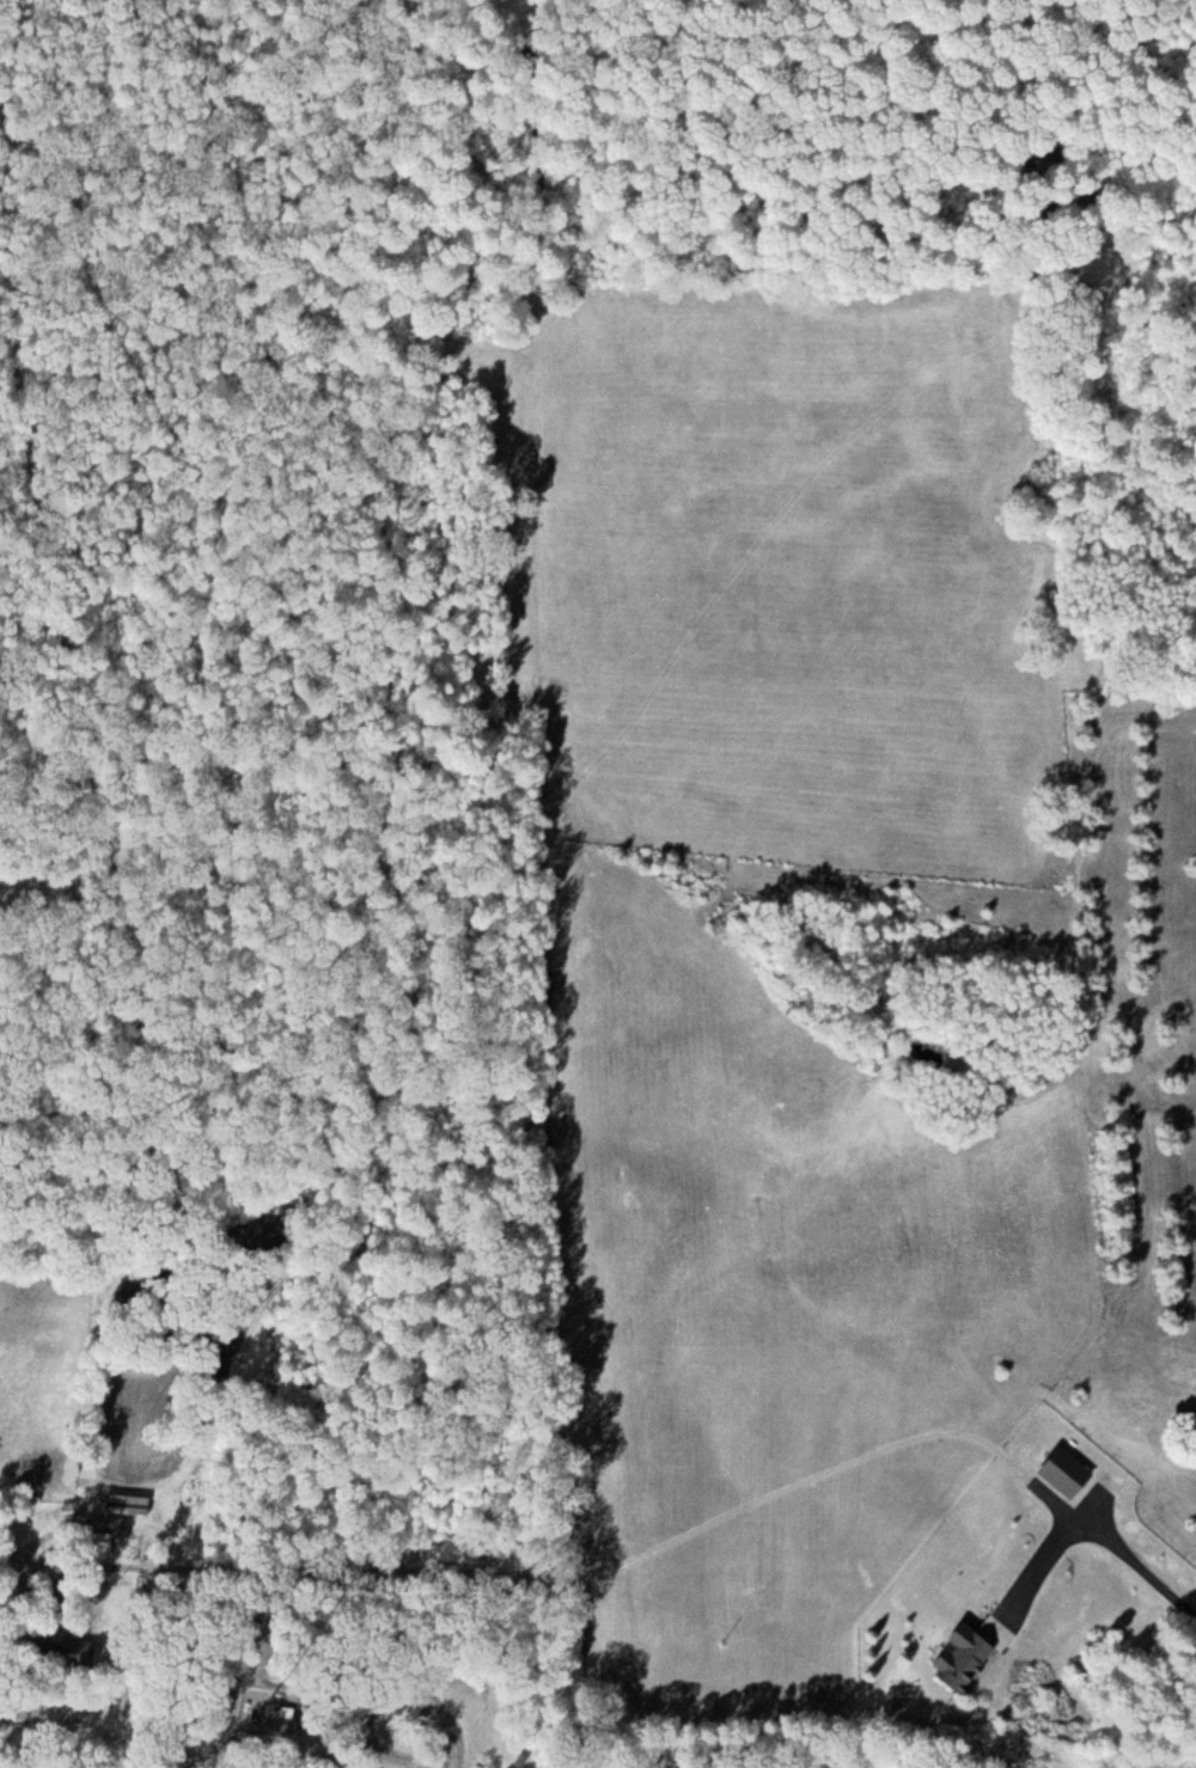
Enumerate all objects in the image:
building: (1070, 1474)
building: (974, 1653)

